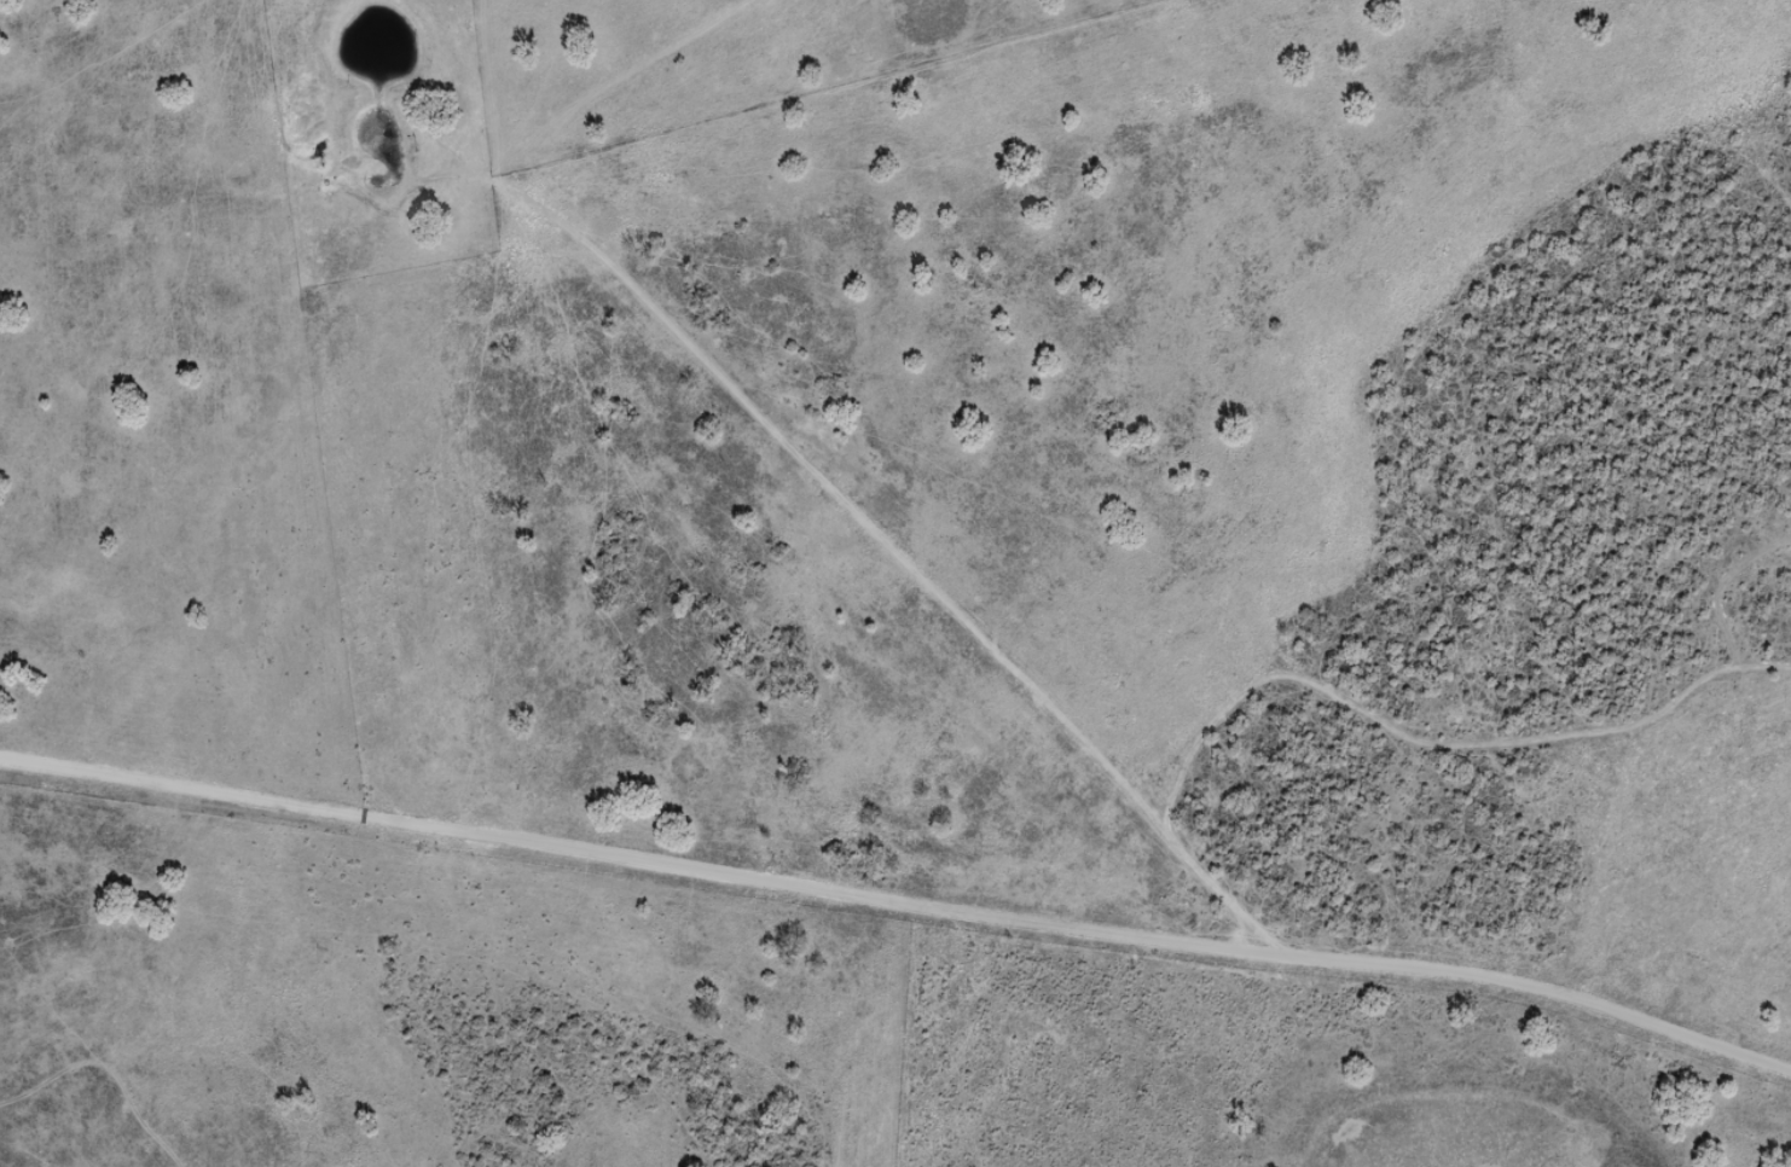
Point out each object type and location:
road: (22, 762)
road: (921, 907)

